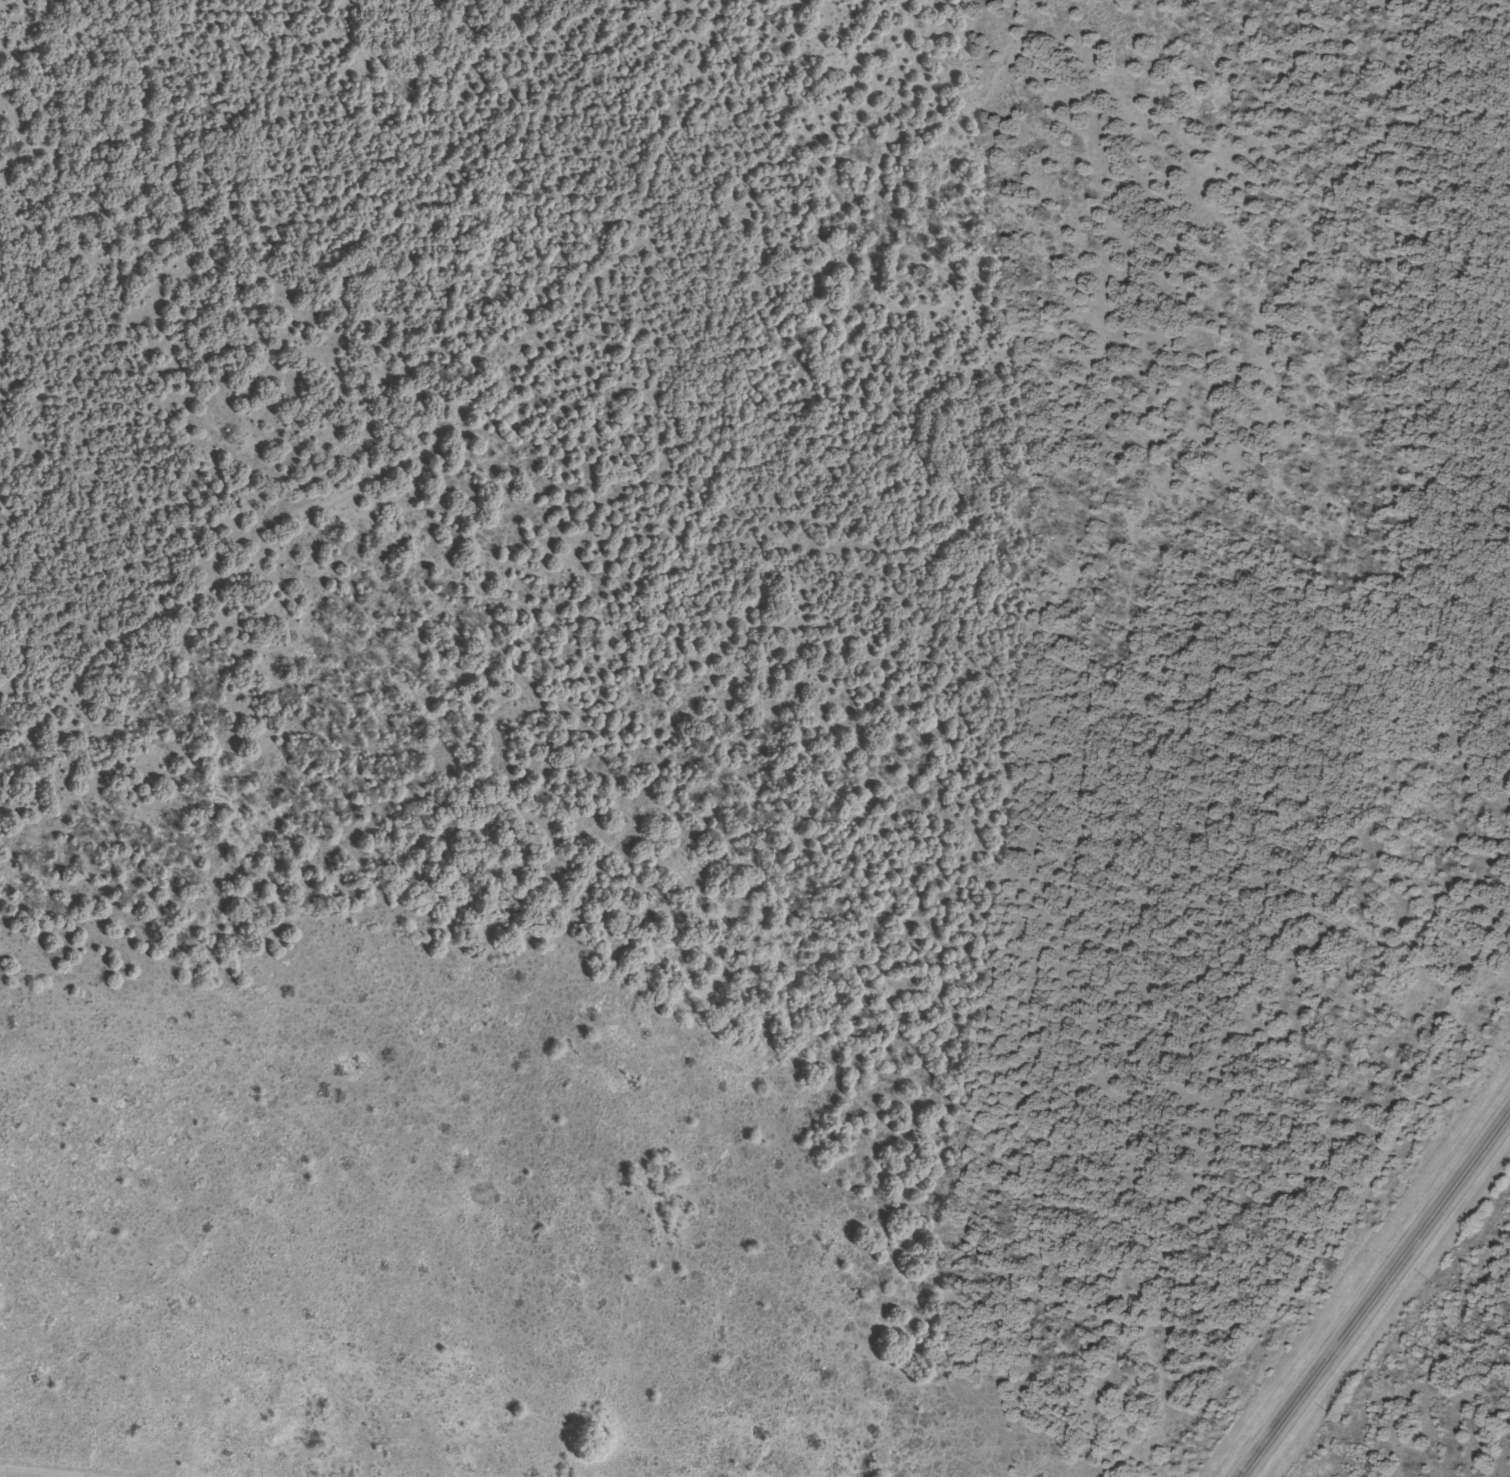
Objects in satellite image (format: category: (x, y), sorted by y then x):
road: (1373, 1293)

